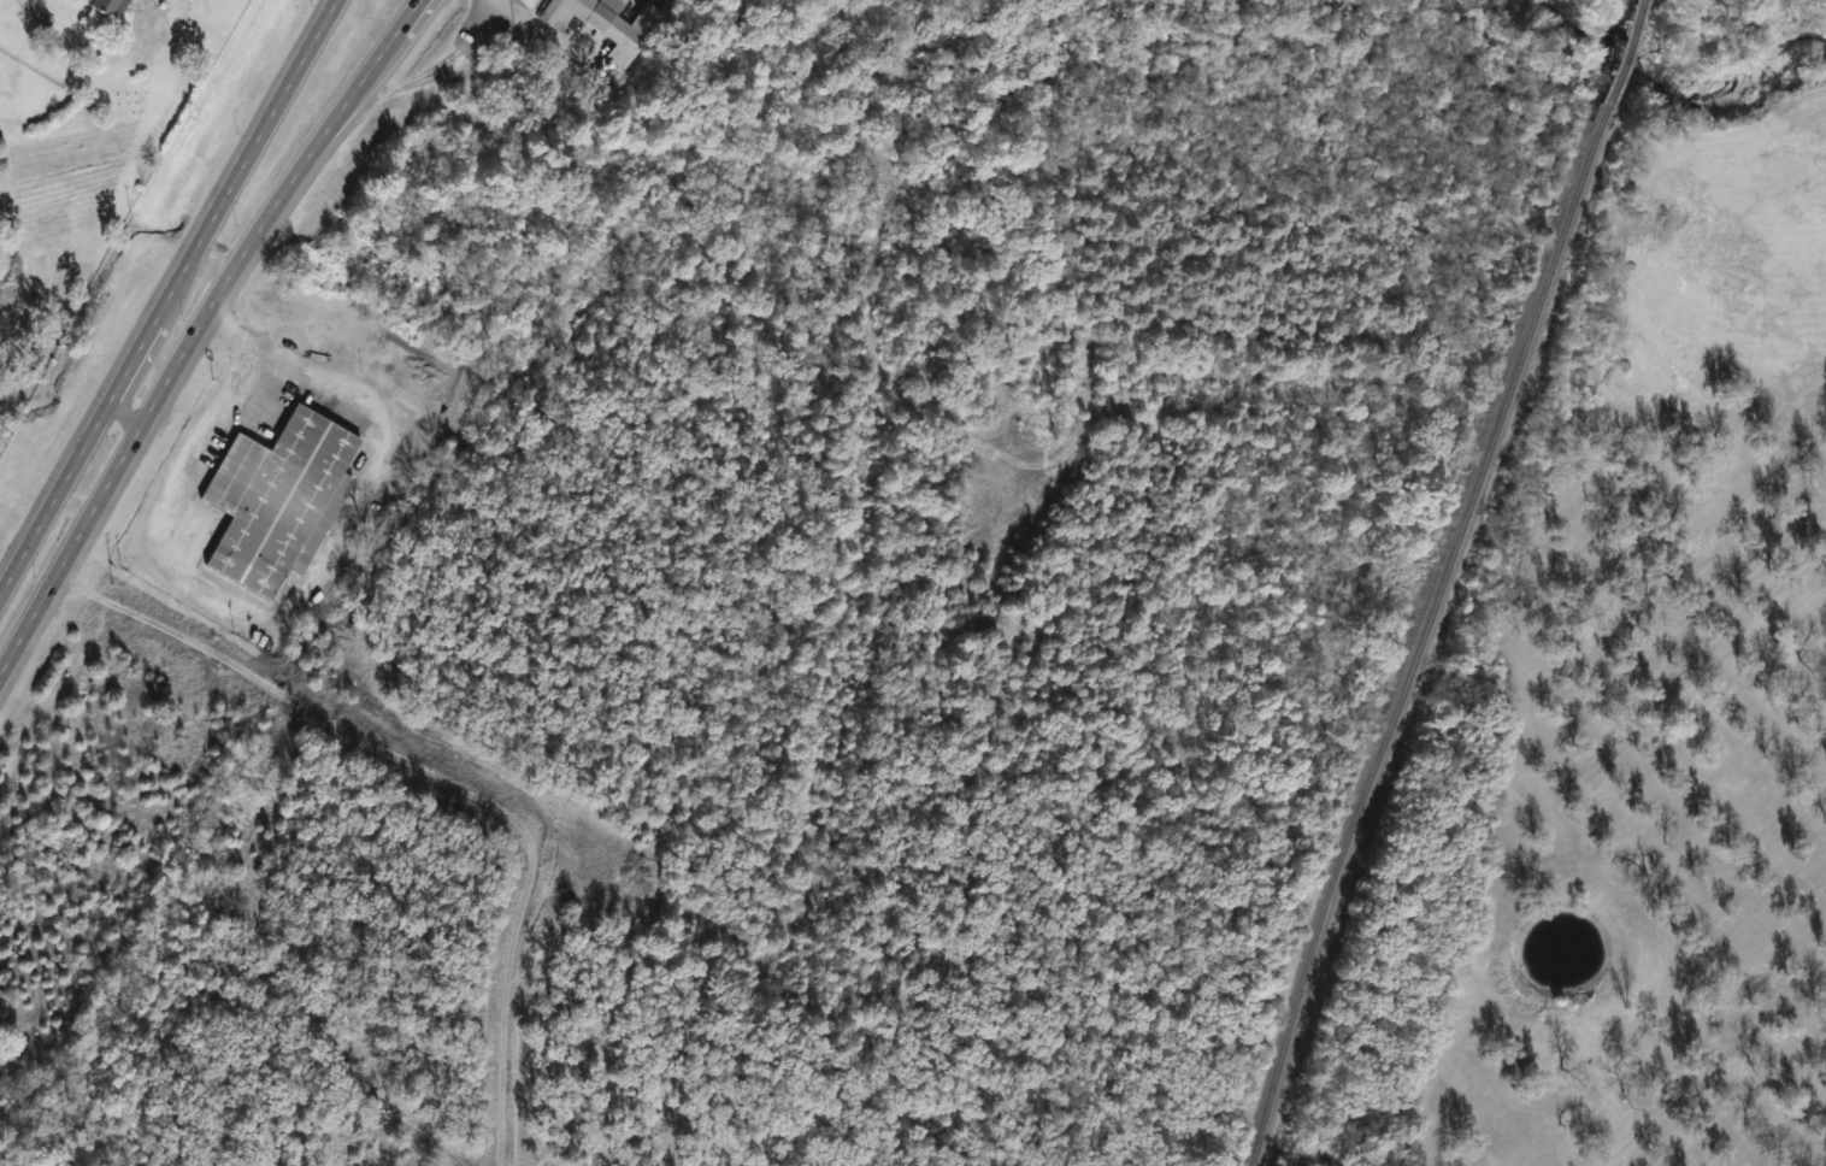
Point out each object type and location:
building: (108, 7)
building: (600, 23)
road: (323, 45)
railway: (1627, 57)
road: (276, 205)
road: (149, 338)
road: (129, 412)
building: (278, 500)
road: (73, 550)
road: (4, 576)
road: (269, 623)
railway: (1435, 636)
road: (514, 1011)

